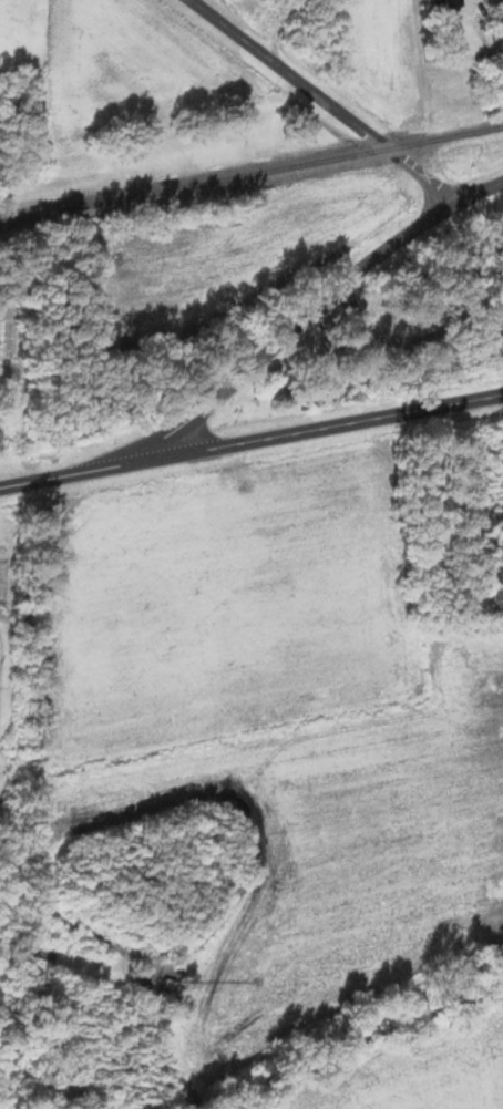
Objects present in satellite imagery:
road: (315, 100)
railway: (251, 174)
road: (480, 188)
building: (463, 243)
road: (292, 321)
road: (410, 339)
road: (320, 427)
road: (69, 472)

